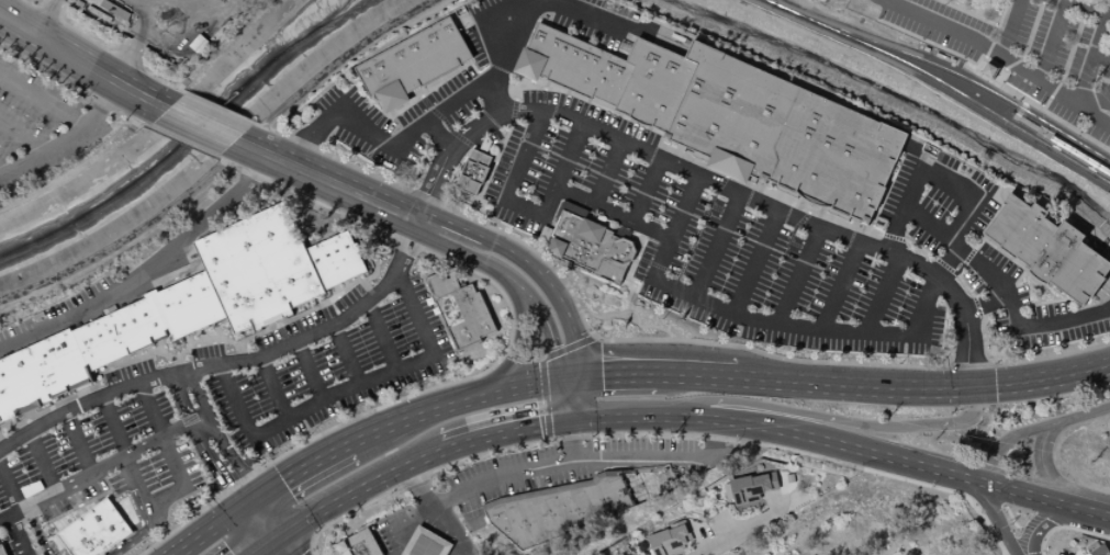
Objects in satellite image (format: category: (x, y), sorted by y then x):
railway: (773, 5)
road: (1085, 8)
road: (967, 13)
road: (45, 18)
road: (620, 21)
road: (1008, 27)
road: (993, 37)
road: (1028, 39)
road: (1051, 39)
road: (100, 46)
parking lot: (1028, 48)
road: (128, 50)
road: (1091, 55)
road: (1001, 56)
road: (1101, 56)
building: (414, 57)
road: (80, 61)
road: (1066, 61)
building: (527, 63)
building: (579, 64)
road: (1002, 68)
building: (989, 70)
railway: (953, 73)
road: (1105, 80)
road: (71, 82)
building: (653, 82)
road: (429, 88)
railway: (951, 91)
road: (493, 92)
building: (389, 94)
road: (1094, 98)
road: (42, 100)
road: (218, 106)
road: (1042, 113)
road: (1019, 118)
road: (200, 124)
parking lot: (40, 126)
road: (417, 126)
road: (440, 131)
road: (452, 132)
railway: (1035, 132)
building: (786, 133)
road: (65, 136)
road: (22, 137)
road: (181, 141)
road: (451, 141)
road: (565, 155)
road: (223, 160)
building: (729, 163)
road: (491, 168)
road: (1, 171)
road: (606, 172)
building: (473, 173)
building: (762, 177)
road: (327, 181)
road: (951, 188)
road: (644, 189)
road: (885, 193)
road: (773, 196)
road: (683, 205)
road: (1065, 215)
building: (864, 219)
road: (449, 223)
road: (794, 227)
road: (618, 231)
road: (714, 243)
road: (691, 246)
building: (591, 247)
building: (1047, 248)
parking lot: (1047, 248)
parking lot: (717, 249)
road: (998, 249)
road: (968, 254)
building: (336, 259)
road: (754, 260)
road: (946, 262)
road: (146, 265)
building: (259, 269)
road: (798, 273)
road: (988, 274)
road: (654, 277)
road: (513, 281)
road: (839, 283)
road: (1106, 286)
road: (367, 288)
road: (882, 292)
road: (551, 293)
road: (1102, 296)
road: (1053, 301)
road: (983, 304)
road: (509, 306)
road: (629, 306)
building: (460, 309)
road: (631, 312)
road: (596, 317)
road: (657, 327)
road: (382, 335)
road: (648, 340)
building: (101, 343)
road: (184, 348)
road: (514, 349)
road: (346, 353)
road: (551, 354)
road: (966, 354)
road: (309, 369)
parking lot: (334, 372)
road: (619, 375)
road: (698, 375)
traffic signals: (580, 380)
road: (1039, 380)
road: (570, 381)
traffic signals: (560, 382)
road: (852, 386)
road: (272, 387)
road: (346, 387)
road: (590, 387)
traffic signals: (968, 389)
road: (542, 399)
road: (574, 399)
road: (564, 400)
road: (452, 406)
road: (969, 412)
road: (812, 416)
traffic signals: (569, 419)
road: (782, 424)
road: (504, 429)
road: (1034, 429)
road: (218, 438)
road: (569, 440)
road: (76, 442)
road: (200, 445)
road: (515, 446)
road: (590, 460)
road: (42, 461)
parking lot: (99, 461)
road: (103, 466)
road: (306, 472)
road: (1052, 472)
road: (360, 484)
road: (236, 485)
road: (10, 486)
building: (752, 487)
road: (422, 489)
road: (161, 496)
traffic signals: (261, 498)
road: (1050, 501)
road: (254, 503)
building: (573, 503)
road: (283, 505)
traffic signals: (247, 509)
road: (1058, 518)
road: (760, 520)
road: (999, 520)
road: (280, 524)
road: (180, 525)
road: (235, 526)
road: (1066, 528)
road: (37, 530)
road: (159, 530)
building: (96, 531)
road: (142, 531)
road: (261, 531)
road: (213, 532)
traffic signals: (285, 532)
road: (16, 535)
road: (277, 537)
road: (311, 540)
building: (669, 540)
traffic signals: (269, 543)
building: (427, 543)
building: (359, 544)
road: (299, 546)
road: (260, 548)
building: (1096, 550)
building: (2, 551)
road: (22, 554)

